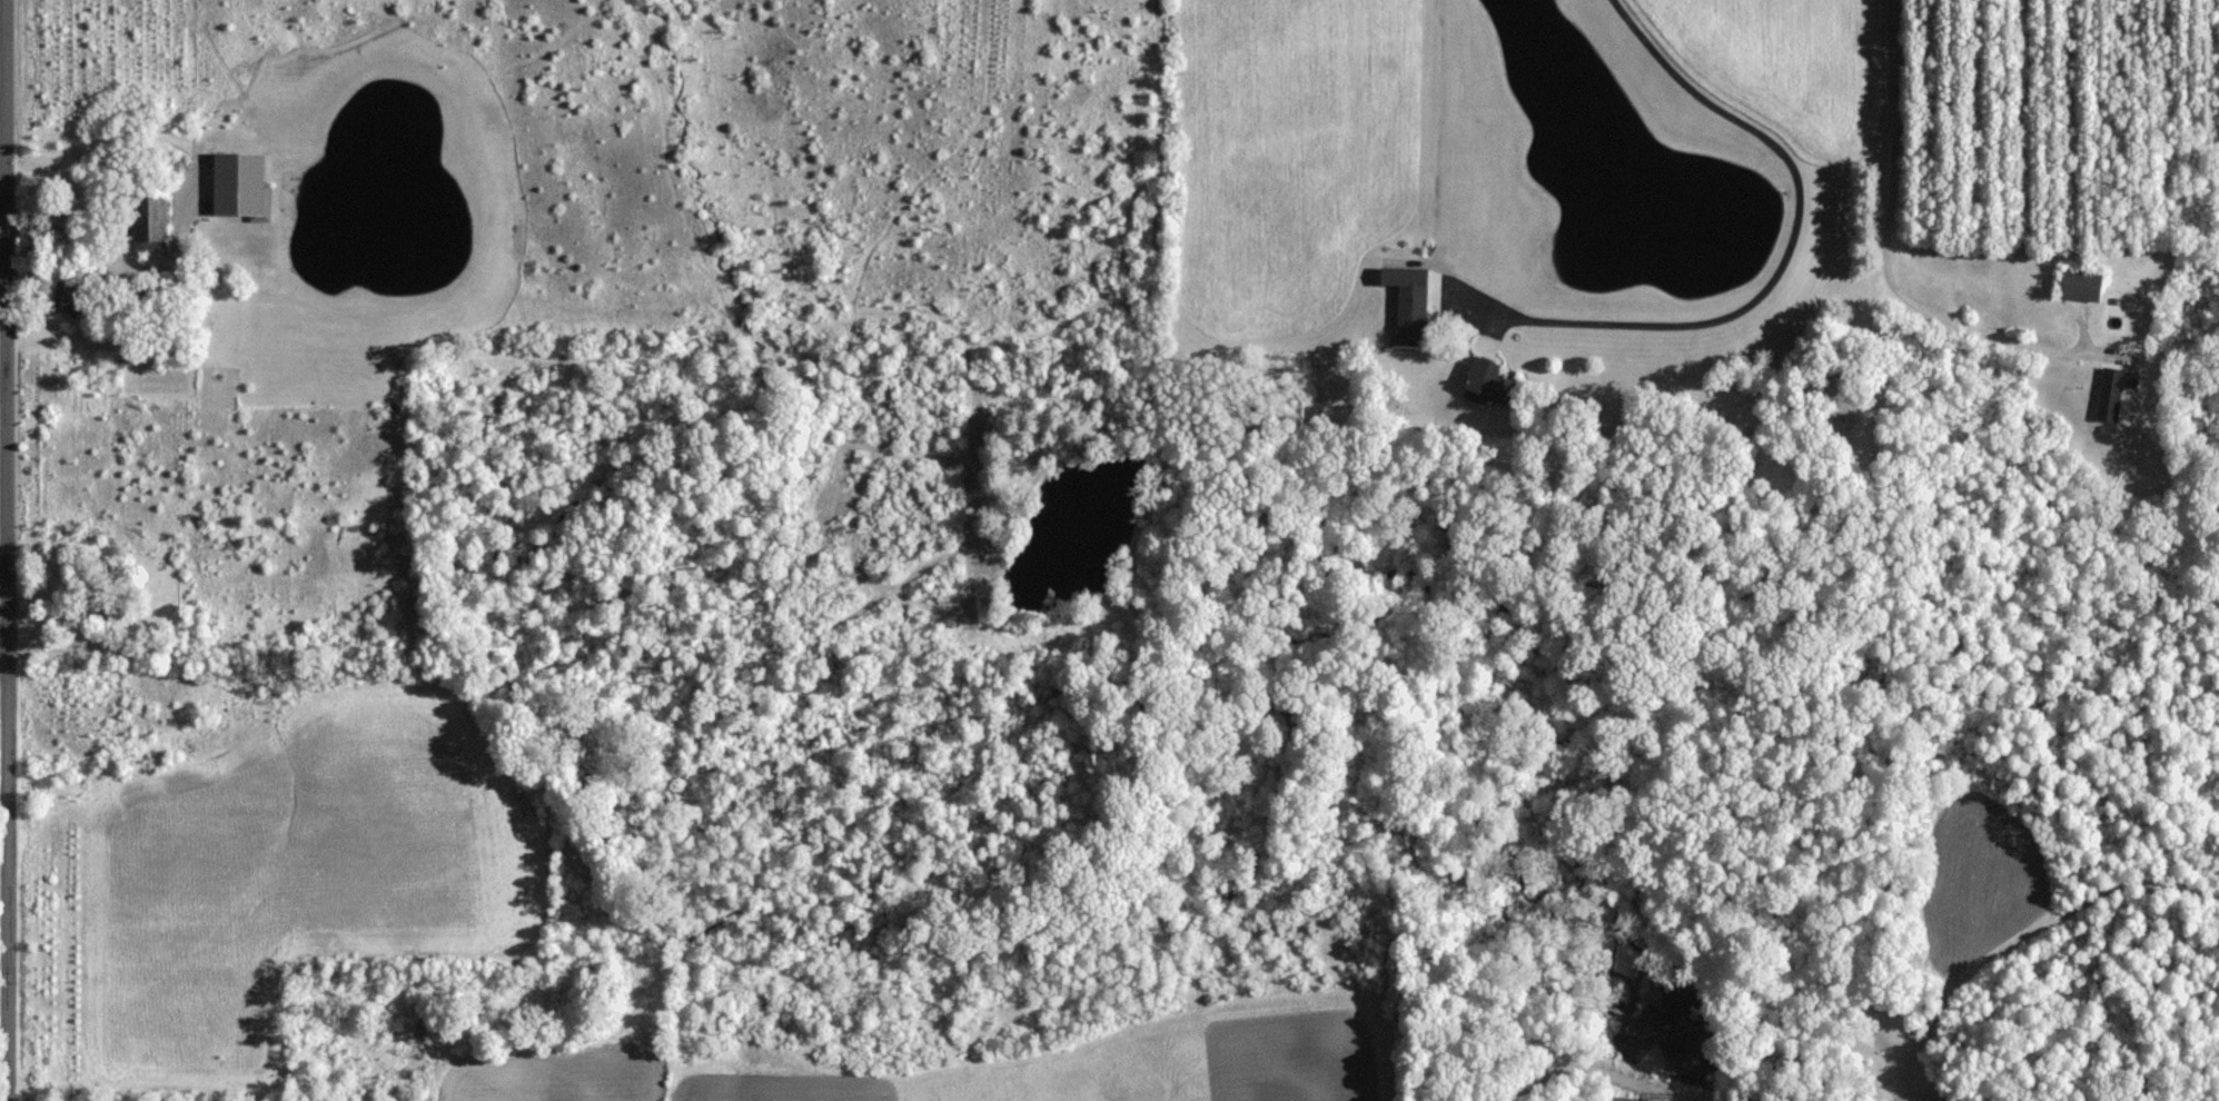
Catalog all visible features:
road: (1885, 251)
road: (1779, 268)
building: (2077, 284)
building: (1409, 296)
building: (2113, 385)
road: (7, 550)
road: (3, 649)

